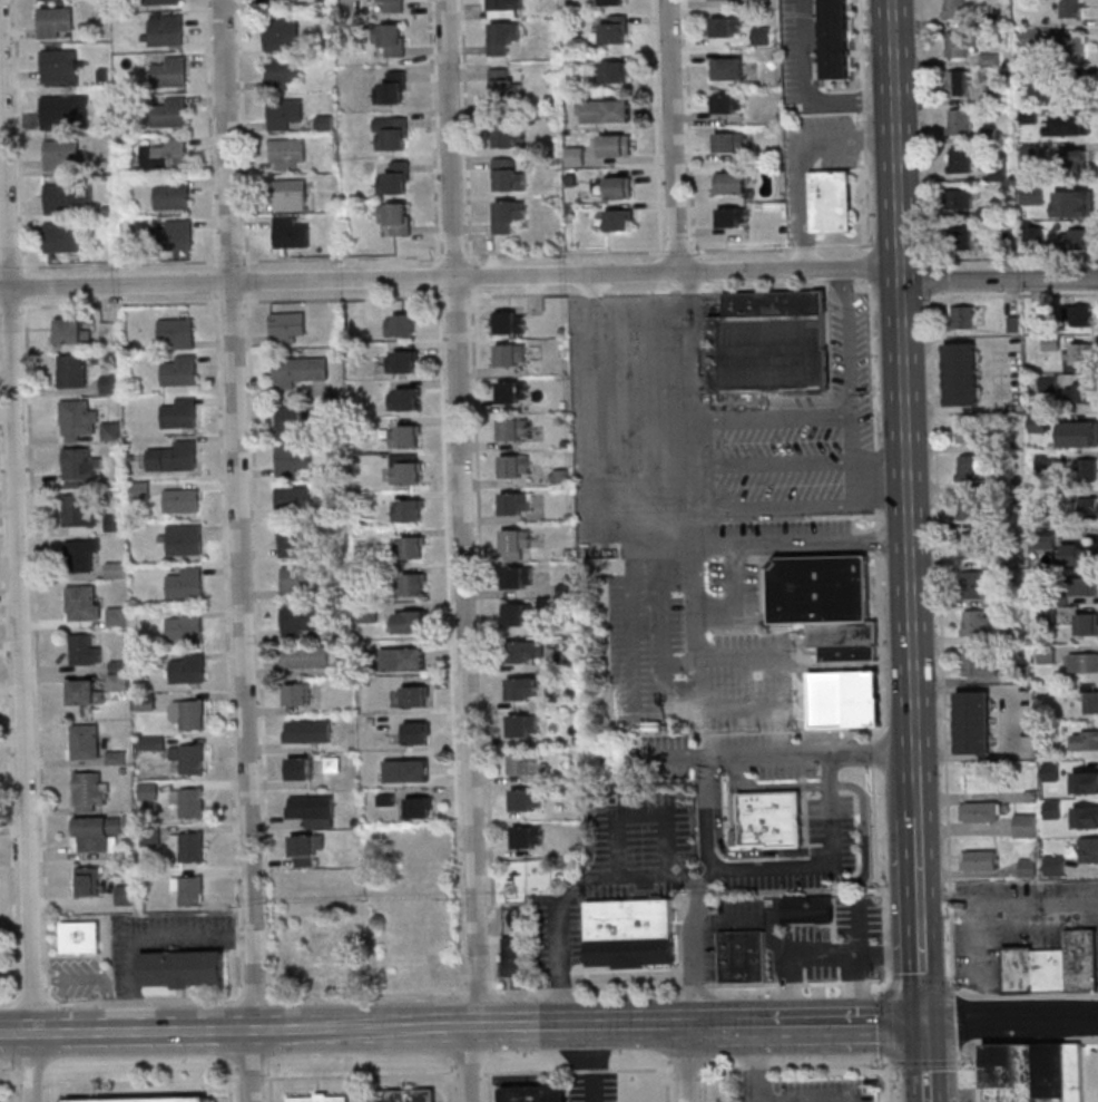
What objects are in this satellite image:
building: (161, 1)
building: (612, 2)
building: (272, 4)
building: (393, 6)
building: (504, 8)
building: (954, 8)
building: (1071, 8)
building: (56, 21)
building: (726, 26)
building: (166, 28)
building: (614, 29)
building: (280, 32)
building: (502, 36)
building: (1031, 36)
building: (390, 38)
building: (835, 39)
building: (957, 43)
building: (1074, 50)
building: (59, 65)
building: (728, 68)
building: (170, 71)
building: (616, 71)
building: (283, 72)
building: (959, 82)
building: (504, 86)
building: (392, 87)
road: (806, 90)
building: (728, 103)
building: (65, 110)
building: (606, 110)
building: (170, 111)
building: (284, 113)
building: (960, 120)
building: (1076, 121)
road: (656, 125)
road: (690, 125)
road: (864, 125)
road: (433, 129)
road: (467, 129)
building: (506, 133)
building: (394, 134)
road: (19, 136)
road: (675, 137)
road: (227, 140)
building: (731, 142)
building: (616, 145)
building: (287, 152)
building: (61, 154)
building: (166, 154)
building: (576, 155)
building: (960, 160)
building: (1074, 162)
building: (998, 174)
building: (508, 175)
building: (395, 178)
building: (733, 182)
building: (620, 186)
building: (171, 193)
building: (291, 194)
building: (67, 196)
building: (961, 198)
building: (1075, 199)
building: (832, 201)
building: (508, 214)
building: (733, 216)
building: (396, 217)
building: (620, 220)
building: (291, 233)
building: (175, 234)
building: (61, 237)
building: (961, 237)
building: (1080, 238)
road: (780, 247)
road: (677, 251)
road: (565, 253)
road: (453, 255)
road: (895, 259)
road: (229, 261)
road: (1010, 261)
road: (9, 266)
road: (660, 266)
road: (869, 267)
road: (471, 274)
road: (439, 275)
road: (567, 276)
road: (1000, 280)
road: (24, 286)
road: (115, 286)
road: (661, 286)
road: (765, 289)
road: (690, 290)
road: (640, 291)
road: (563, 292)
road: (594, 292)
road: (498, 293)
road: (535, 293)
road: (455, 295)
road: (343, 298)
road: (233, 301)
road: (120, 303)
building: (776, 304)
road: (10, 306)
building: (1081, 314)
building: (962, 316)
building: (510, 321)
building: (401, 325)
building: (287, 326)
building: (72, 331)
building: (177, 332)
road: (849, 344)
building: (1082, 352)
building: (510, 353)
building: (772, 354)
building: (402, 361)
road: (873, 367)
building: (72, 370)
building: (179, 370)
building: (298, 370)
building: (962, 373)
building: (110, 382)
building: (1049, 382)
building: (512, 391)
road: (908, 392)
building: (1080, 392)
building: (404, 399)
building: (180, 413)
road: (252, 417)
building: (78, 419)
road: (772, 419)
building: (295, 420)
building: (514, 428)
building: (967, 429)
building: (111, 430)
building: (1082, 430)
building: (405, 436)
road: (600, 437)
parking lot: (801, 441)
building: (174, 456)
building: (1047, 459)
building: (294, 460)
road: (851, 461)
building: (516, 465)
road: (773, 465)
building: (974, 466)
building: (80, 467)
building: (405, 468)
building: (1087, 469)
road: (876, 477)
road: (882, 479)
building: (140, 489)
road: (694, 494)
road: (222, 498)
building: (294, 499)
road: (938, 499)
building: (179, 500)
building: (516, 501)
building: (970, 506)
road: (774, 508)
building: (1087, 508)
building: (79, 509)
building: (409, 510)
road: (878, 516)
road: (19, 518)
road: (878, 538)
building: (185, 539)
building: (517, 539)
building: (293, 540)
road: (804, 542)
building: (973, 544)
building: (410, 547)
road: (465, 550)
building: (1080, 553)
building: (81, 554)
building: (116, 572)
building: (518, 576)
building: (298, 581)
building: (186, 583)
building: (411, 584)
building: (973, 584)
building: (1087, 585)
parking lot: (733, 591)
building: (824, 591)
road: (734, 594)
building: (84, 602)
road: (880, 605)
building: (519, 613)
building: (118, 615)
building: (298, 620)
building: (412, 622)
building: (978, 622)
building: (1087, 623)
building: (185, 625)
building: (842, 634)
road: (482, 640)
parking lot: (649, 641)
road: (450, 642)
road: (663, 648)
building: (85, 650)
building: (521, 650)
road: (633, 650)
building: (847, 652)
building: (305, 656)
building: (403, 659)
building: (1084, 662)
road: (883, 663)
building: (979, 663)
road: (851, 664)
building: (188, 667)
building: (118, 681)
road: (784, 681)
parking lot: (748, 683)
building: (522, 686)
building: (85, 692)
road: (244, 692)
building: (297, 693)
building: (415, 695)
building: (1090, 699)
building: (849, 701)
road: (886, 706)
building: (193, 713)
building: (976, 721)
road: (1012, 721)
building: (523, 724)
building: (308, 730)
building: (416, 732)
building: (1085, 739)
building: (85, 740)
road: (39, 743)
road: (873, 752)
road: (832, 753)
road: (8, 754)
building: (189, 757)
road: (698, 757)
building: (525, 761)
building: (300, 768)
road: (831, 769)
building: (408, 770)
road: (743, 771)
building: (1091, 780)
building: (88, 787)
road: (863, 794)
building: (526, 799)
building: (192, 801)
road: (923, 801)
building: (419, 808)
building: (313, 810)
building: (981, 811)
road: (706, 813)
road: (631, 816)
building: (1092, 817)
building: (772, 818)
building: (1026, 823)
road: (831, 826)
building: (96, 831)
building: (527, 836)
building: (189, 845)
building: (305, 849)
building: (1089, 849)
road: (729, 854)
road: (876, 854)
building: (980, 860)
building: (1056, 865)
building: (1028, 866)
road: (761, 868)
road: (645, 877)
building: (88, 880)
building: (189, 888)
building: (126, 894)
road: (1012, 906)
building: (810, 907)
road: (727, 917)
road: (928, 917)
building: (631, 930)
road: (144, 934)
building: (81, 936)
building: (320, 943)
road: (888, 953)
road: (859, 954)
building: (516, 955)
building: (743, 955)
road: (856, 957)
building: (0, 960)
road: (790, 962)
road: (980, 962)
building: (1082, 962)
building: (185, 967)
building: (437, 967)
building: (1020, 971)
building: (1051, 972)
road: (888, 974)
road: (98, 978)
road: (689, 985)
road: (888, 987)
road: (480, 992)
road: (967, 992)
road: (369, 993)
road: (1043, 995)
road: (9, 996)
road: (32, 996)
road: (49, 996)
road: (254, 996)
road: (982, 996)
road: (969, 1016)
road: (1066, 1017)
road: (981, 1018)
road: (833, 1020)
traffic signals: (931, 1020)
road: (710, 1022)
road: (659, 1024)
road: (315, 1028)
road: (1037, 1040)
road: (933, 1060)
road: (968, 1060)
road: (688, 1062)
road: (759, 1062)
road: (927, 1062)
road: (592, 1063)
road: (894, 1064)
road: (796, 1065)
road: (687, 1067)
road: (37, 1070)
road: (577, 1070)
road: (977, 1070)
building: (1055, 1071)
building: (1079, 1072)
road: (468, 1073)
building: (1013, 1073)
road: (228, 1080)
road: (893, 1083)
road: (708, 1084)
road: (666, 1085)
road: (449, 1088)
road: (490, 1088)
road: (271, 1090)
road: (229, 1091)
building: (535, 1093)
building: (404, 1095)
building: (318, 1099)
building: (150, 1100)

